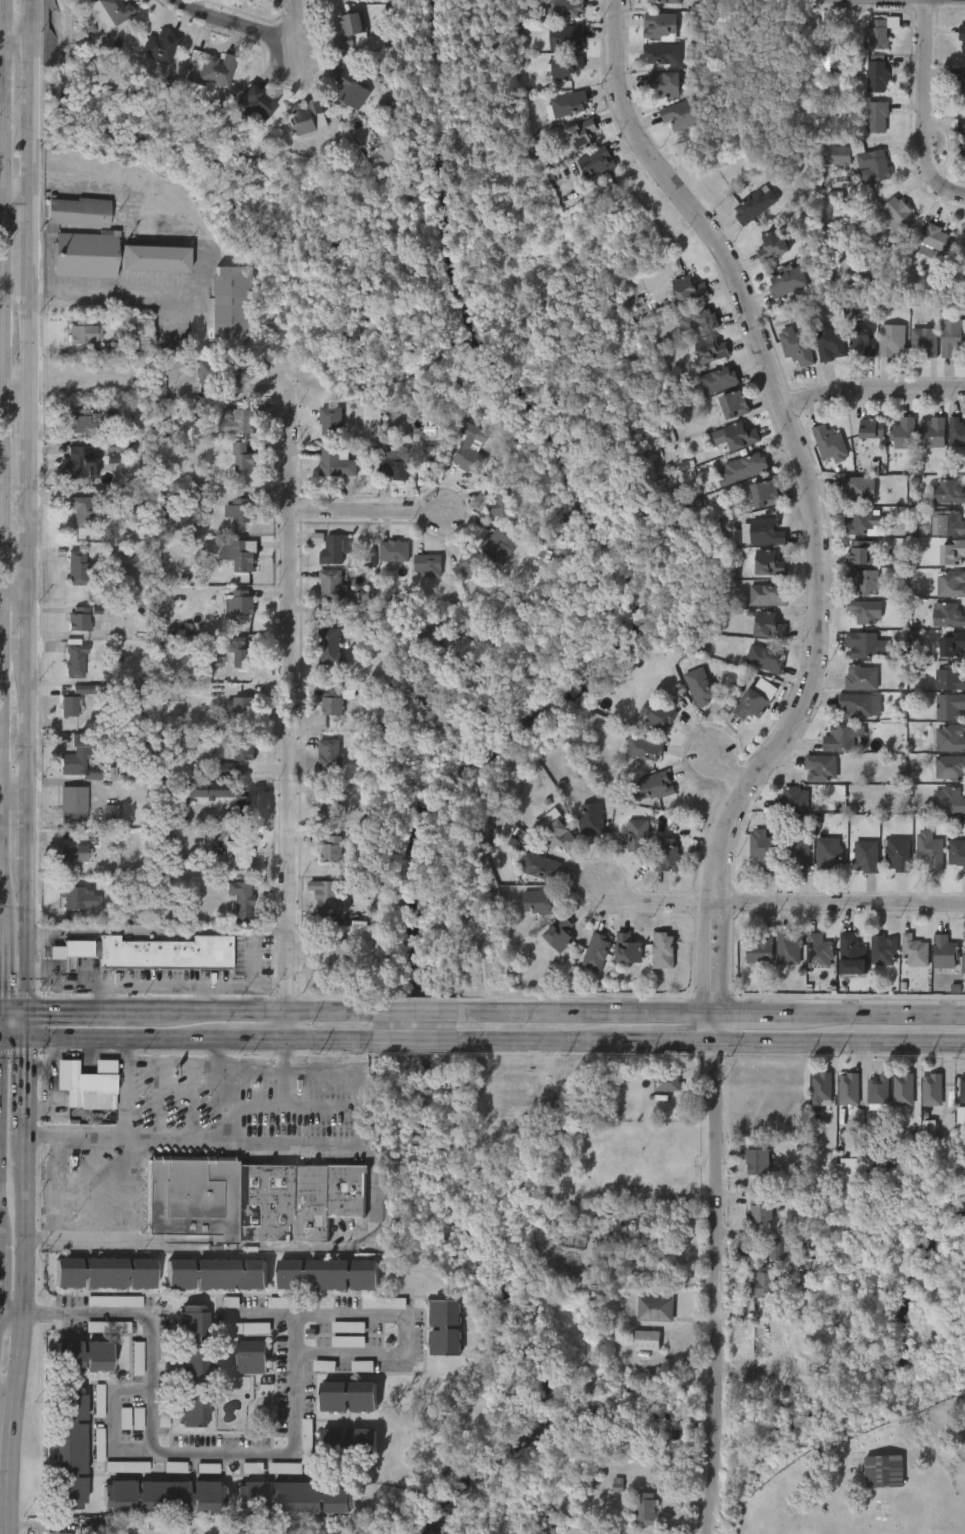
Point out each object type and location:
building: (664, 1)
building: (566, 8)
building: (117, 10)
road: (35, 23)
road: (252, 24)
building: (660, 25)
building: (349, 29)
building: (879, 32)
building: (567, 37)
building: (962, 38)
road: (17, 46)
building: (159, 46)
building: (661, 53)
building: (566, 66)
building: (216, 69)
building: (876, 74)
road: (35, 75)
building: (667, 84)
building: (962, 87)
building: (349, 89)
building: (194, 93)
road: (923, 97)
building: (571, 104)
building: (247, 106)
building: (680, 115)
road: (0, 116)
building: (876, 117)
building: (306, 118)
building: (584, 135)
building: (961, 138)
road: (35, 155)
building: (861, 162)
building: (595, 164)
road: (1, 171)
road: (955, 191)
building: (835, 199)
road: (17, 206)
building: (756, 206)
building: (895, 213)
road: (34, 235)
building: (83, 237)
building: (935, 241)
building: (771, 246)
building: (156, 257)
building: (788, 280)
road: (17, 285)
road: (120, 288)
building: (688, 289)
building: (233, 303)
building: (698, 323)
road: (31, 331)
building: (81, 331)
building: (952, 337)
building: (893, 340)
building: (926, 340)
building: (864, 342)
building: (832, 345)
building: (795, 346)
building: (118, 350)
building: (710, 350)
building: (215, 372)
building: (718, 380)
road: (872, 387)
road: (15, 400)
building: (736, 406)
building: (241, 419)
building: (328, 422)
building: (80, 423)
road: (31, 426)
building: (870, 429)
building: (931, 433)
building: (956, 433)
building: (903, 434)
building: (741, 436)
building: (829, 444)
building: (112, 448)
building: (467, 450)
building: (429, 452)
building: (243, 458)
building: (80, 462)
building: (336, 462)
building: (393, 468)
building: (744, 468)
building: (857, 489)
building: (948, 493)
building: (768, 494)
building: (192, 496)
building: (675, 498)
building: (499, 502)
road: (372, 510)
road: (815, 510)
building: (81, 511)
building: (241, 511)
road: (34, 517)
building: (860, 522)
building: (949, 524)
building: (769, 532)
building: (745, 533)
building: (493, 546)
building: (332, 550)
building: (392, 552)
building: (242, 554)
building: (857, 554)
building: (952, 554)
building: (770, 563)
building: (426, 566)
building: (466, 568)
building: (75, 569)
road: (18, 578)
building: (862, 582)
building: (950, 585)
building: (329, 586)
building: (766, 597)
building: (241, 603)
building: (864, 612)
road: (36, 613)
building: (948, 615)
building: (80, 619)
building: (767, 626)
building: (862, 643)
building: (952, 643)
building: (330, 647)
building: (238, 650)
building: (763, 659)
building: (73, 660)
building: (211, 662)
building: (861, 677)
building: (949, 677)
building: (698, 685)
building: (84, 689)
building: (331, 702)
road: (291, 703)
building: (753, 704)
building: (859, 705)
building: (69, 706)
building: (949, 706)
building: (235, 708)
building: (657, 714)
road: (34, 722)
building: (950, 737)
building: (839, 738)
building: (241, 746)
building: (643, 748)
building: (328, 754)
building: (76, 755)
building: (820, 767)
building: (950, 767)
building: (224, 769)
road: (727, 770)
building: (655, 785)
building: (242, 796)
road: (16, 797)
building: (792, 800)
building: (948, 800)
building: (71, 802)
building: (329, 806)
building: (111, 813)
building: (590, 819)
building: (553, 830)
road: (33, 832)
building: (638, 836)
building: (763, 849)
building: (239, 850)
building: (332, 850)
building: (930, 850)
building: (75, 852)
building: (827, 853)
building: (898, 853)
building: (956, 853)
building: (666, 855)
building: (796, 856)
building: (866, 856)
building: (539, 866)
building: (71, 896)
building: (239, 898)
building: (329, 898)
road: (656, 901)
building: (543, 902)
road: (840, 904)
road: (159, 931)
building: (559, 933)
road: (32, 938)
building: (628, 948)
building: (759, 948)
building: (788, 948)
building: (882, 949)
building: (662, 950)
building: (914, 950)
building: (818, 951)
building: (944, 951)
building: (148, 952)
building: (597, 952)
building: (851, 955)
building: (330, 957)
building: (963, 965)
road: (252, 974)
road: (45, 978)
road: (166, 985)
road: (71, 987)
road: (204, 998)
road: (15, 1009)
traffic signals: (31, 1009)
road: (94, 1009)
road: (428, 1010)
road: (273, 1011)
road: (591, 1012)
road: (752, 1013)
road: (878, 1013)
road: (25, 1023)
road: (9, 1036)
traffic signals: (19, 1037)
road: (203, 1039)
road: (428, 1041)
road: (545, 1043)
road: (667, 1044)
road: (839, 1044)
road: (214, 1050)
road: (206, 1061)
building: (666, 1082)
building: (86, 1083)
road: (123, 1087)
building: (963, 1088)
road: (285, 1089)
building: (821, 1089)
building: (848, 1089)
building: (903, 1089)
building: (543, 1090)
building: (931, 1090)
building: (877, 1093)
road: (157, 1098)
road: (193, 1099)
road: (230, 1104)
road: (294, 1107)
building: (960, 1118)
road: (282, 1143)
building: (756, 1161)
building: (869, 1163)
building: (849, 1170)
road: (55, 1188)
road: (92, 1188)
road: (130, 1188)
building: (248, 1201)
building: (762, 1210)
road: (38, 1240)
road: (92, 1240)
building: (778, 1249)
building: (605, 1266)
building: (655, 1270)
building: (105, 1272)
building: (216, 1273)
building: (329, 1274)
building: (762, 1284)
road: (19, 1285)
road: (724, 1289)
building: (114, 1301)
building: (230, 1302)
building: (284, 1303)
building: (383, 1303)
building: (654, 1309)
road: (263, 1314)
road: (9, 1315)
road: (44, 1316)
road: (401, 1317)
building: (447, 1326)
building: (107, 1327)
building: (248, 1329)
building: (645, 1340)
building: (347, 1342)
building: (83, 1354)
building: (253, 1357)
building: (137, 1358)
building: (192, 1366)
building: (324, 1366)
building: (361, 1366)
building: (350, 1397)
road: (6, 1399)
building: (99, 1401)
building: (125, 1418)
road: (110, 1425)
building: (307, 1439)
building: (350, 1443)
building: (69, 1448)
road: (162, 1453)
building: (126, 1467)
building: (175, 1467)
building: (207, 1468)
building: (252, 1468)
building: (285, 1468)
building: (883, 1472)
building: (163, 1495)
building: (297, 1497)
building: (648, 1509)
building: (289, 1527)
building: (97, 1528)
building: (234, 1531)
building: (53, 1533)

